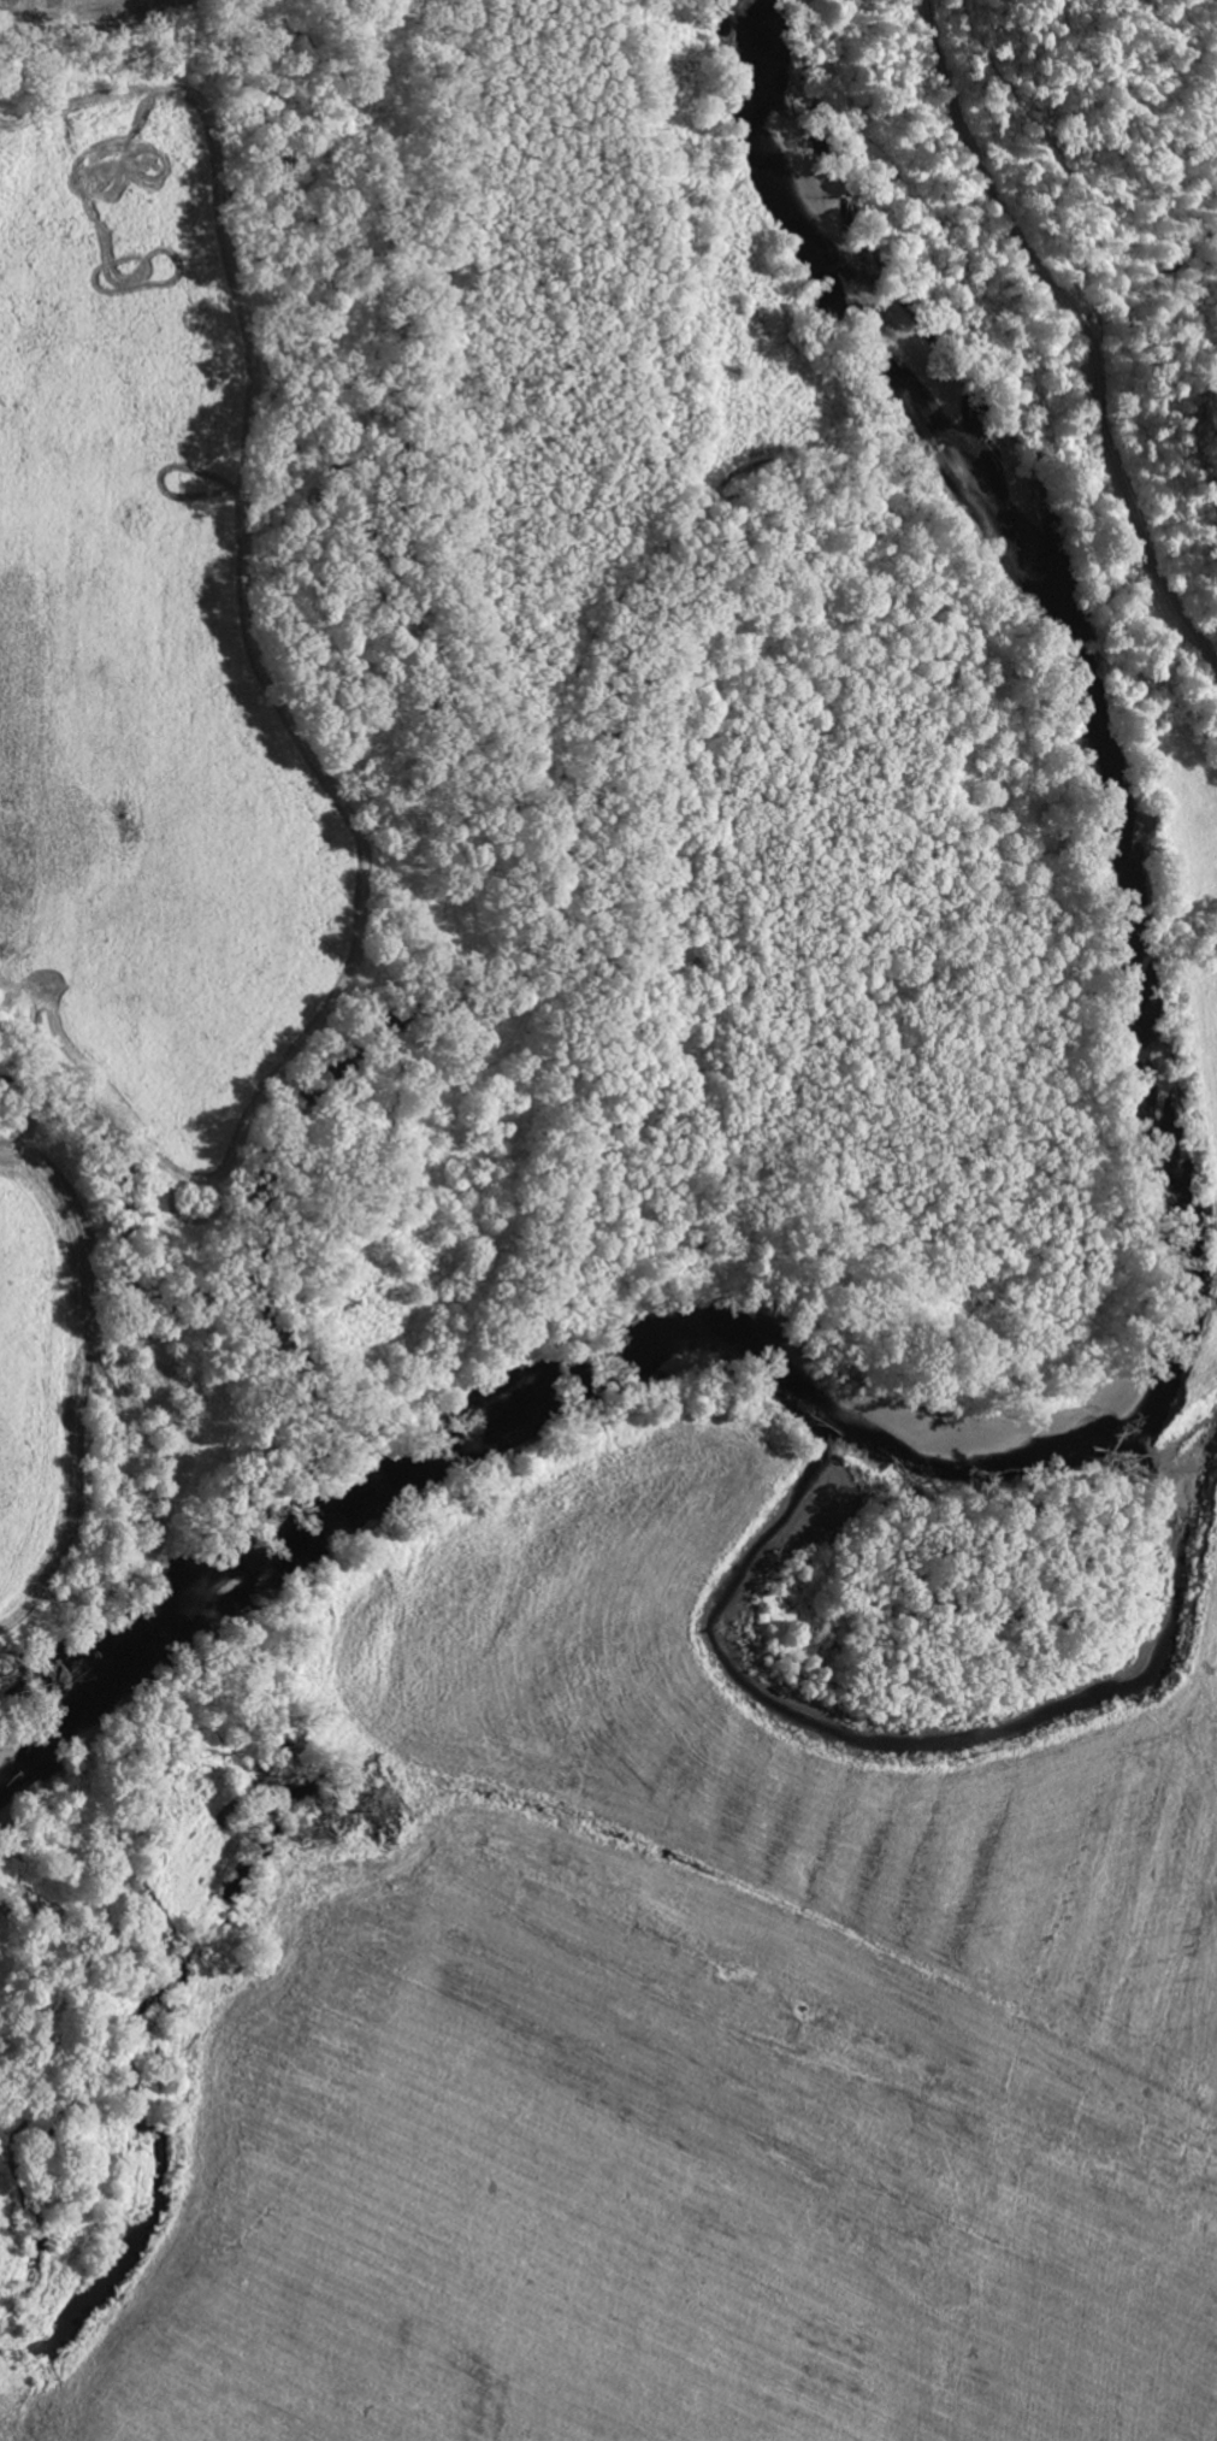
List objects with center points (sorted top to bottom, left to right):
road: (1079, 320)
river: (989, 460)
river: (744, 1593)

